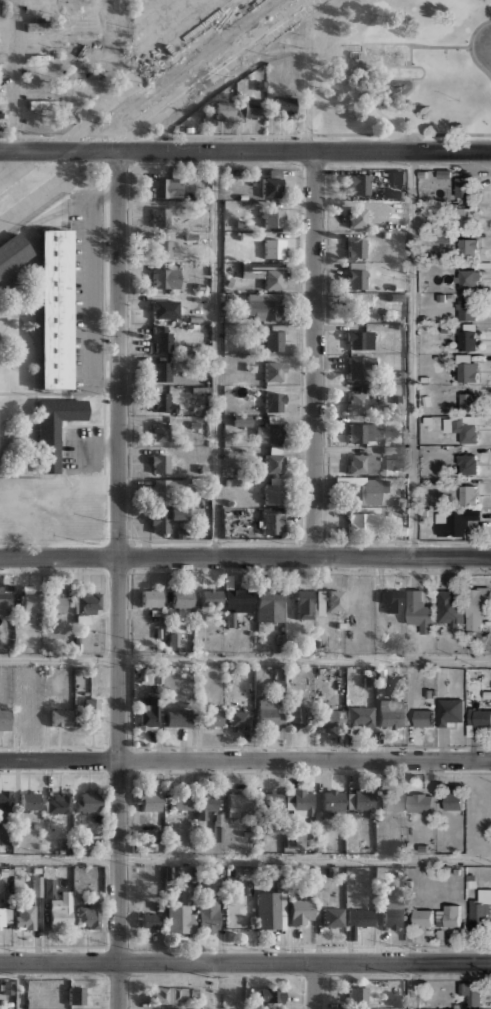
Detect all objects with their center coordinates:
building: (41, 26)
building: (85, 38)
road: (469, 47)
building: (39, 56)
building: (2, 57)
road: (411, 66)
road: (212, 67)
park: (400, 71)
building: (86, 74)
road: (15, 76)
road: (120, 76)
building: (260, 85)
building: (42, 104)
building: (284, 106)
building: (253, 107)
building: (224, 110)
road: (385, 116)
building: (3, 117)
road: (401, 134)
road: (245, 151)
building: (237, 172)
building: (444, 173)
building: (397, 177)
building: (359, 184)
building: (166, 187)
building: (272, 187)
building: (466, 187)
building: (160, 215)
building: (468, 216)
building: (274, 217)
building: (357, 217)
building: (240, 225)
building: (190, 236)
building: (249, 236)
building: (443, 237)
building: (202, 240)
building: (162, 246)
building: (274, 247)
building: (356, 247)
building: (469, 247)
building: (12, 253)
building: (265, 273)
building: (356, 275)
building: (0, 278)
building: (165, 278)
building: (468, 278)
building: (229, 281)
building: (199, 287)
building: (396, 288)
building: (396, 296)
building: (441, 297)
building: (450, 297)
building: (264, 306)
building: (55, 309)
building: (165, 309)
building: (357, 309)
building: (467, 309)
building: (188, 326)
building: (402, 326)
building: (259, 327)
building: (445, 329)
building: (468, 337)
building: (162, 338)
building: (359, 339)
building: (274, 340)
road: (315, 353)
road: (217, 354)
road: (414, 354)
building: (436, 357)
building: (250, 367)
building: (361, 367)
building: (467, 369)
building: (161, 371)
building: (275, 371)
building: (403, 373)
building: (199, 389)
building: (469, 399)
building: (426, 400)
building: (274, 401)
building: (357, 401)
building: (161, 403)
building: (241, 420)
building: (426, 420)
building: (194, 426)
building: (463, 428)
building: (55, 429)
building: (270, 433)
building: (364, 433)
building: (160, 434)
building: (274, 460)
building: (161, 463)
building: (363, 463)
building: (468, 463)
building: (229, 471)
building: (232, 481)
building: (163, 489)
building: (363, 489)
building: (273, 490)
building: (468, 493)
building: (164, 518)
building: (457, 522)
building: (272, 523)
building: (365, 523)
road: (245, 556)
road: (119, 580)
building: (152, 597)
building: (210, 597)
building: (182, 598)
building: (392, 598)
building: (334, 600)
building: (31, 602)
building: (56, 602)
building: (319, 602)
building: (5, 603)
building: (237, 603)
building: (305, 604)
building: (270, 605)
building: (86, 606)
building: (477, 606)
building: (449, 607)
building: (420, 611)
building: (173, 639)
road: (245, 660)
building: (144, 674)
building: (279, 678)
building: (450, 710)
building: (92, 712)
building: (151, 712)
building: (390, 712)
building: (268, 714)
building: (361, 715)
building: (298, 716)
building: (61, 717)
building: (178, 717)
building: (424, 717)
building: (210, 718)
building: (237, 718)
building: (331, 718)
building: (479, 718)
building: (5, 719)
road: (245, 760)
building: (363, 799)
building: (29, 800)
building: (302, 800)
building: (332, 800)
building: (392, 800)
building: (88, 801)
building: (150, 801)
building: (453, 801)
building: (182, 802)
building: (273, 802)
building: (421, 802)
building: (239, 803)
building: (58, 804)
building: (206, 804)
building: (5, 814)
building: (85, 845)
road: (245, 860)
building: (37, 886)
building: (49, 888)
building: (270, 909)
building: (61, 911)
building: (481, 911)
building: (89, 912)
building: (300, 912)
building: (208, 915)
building: (448, 915)
building: (333, 916)
building: (25, 917)
building: (393, 917)
building: (2, 918)
building: (179, 918)
building: (423, 918)
building: (358, 920)
building: (150, 921)
road: (245, 963)
road: (22, 986)
road: (216, 986)
road: (316, 986)
road: (413, 986)
building: (471, 992)
building: (271, 994)
building: (357, 994)
building: (77, 995)
building: (174, 995)
building: (455, 1008)
building: (475, 1008)

